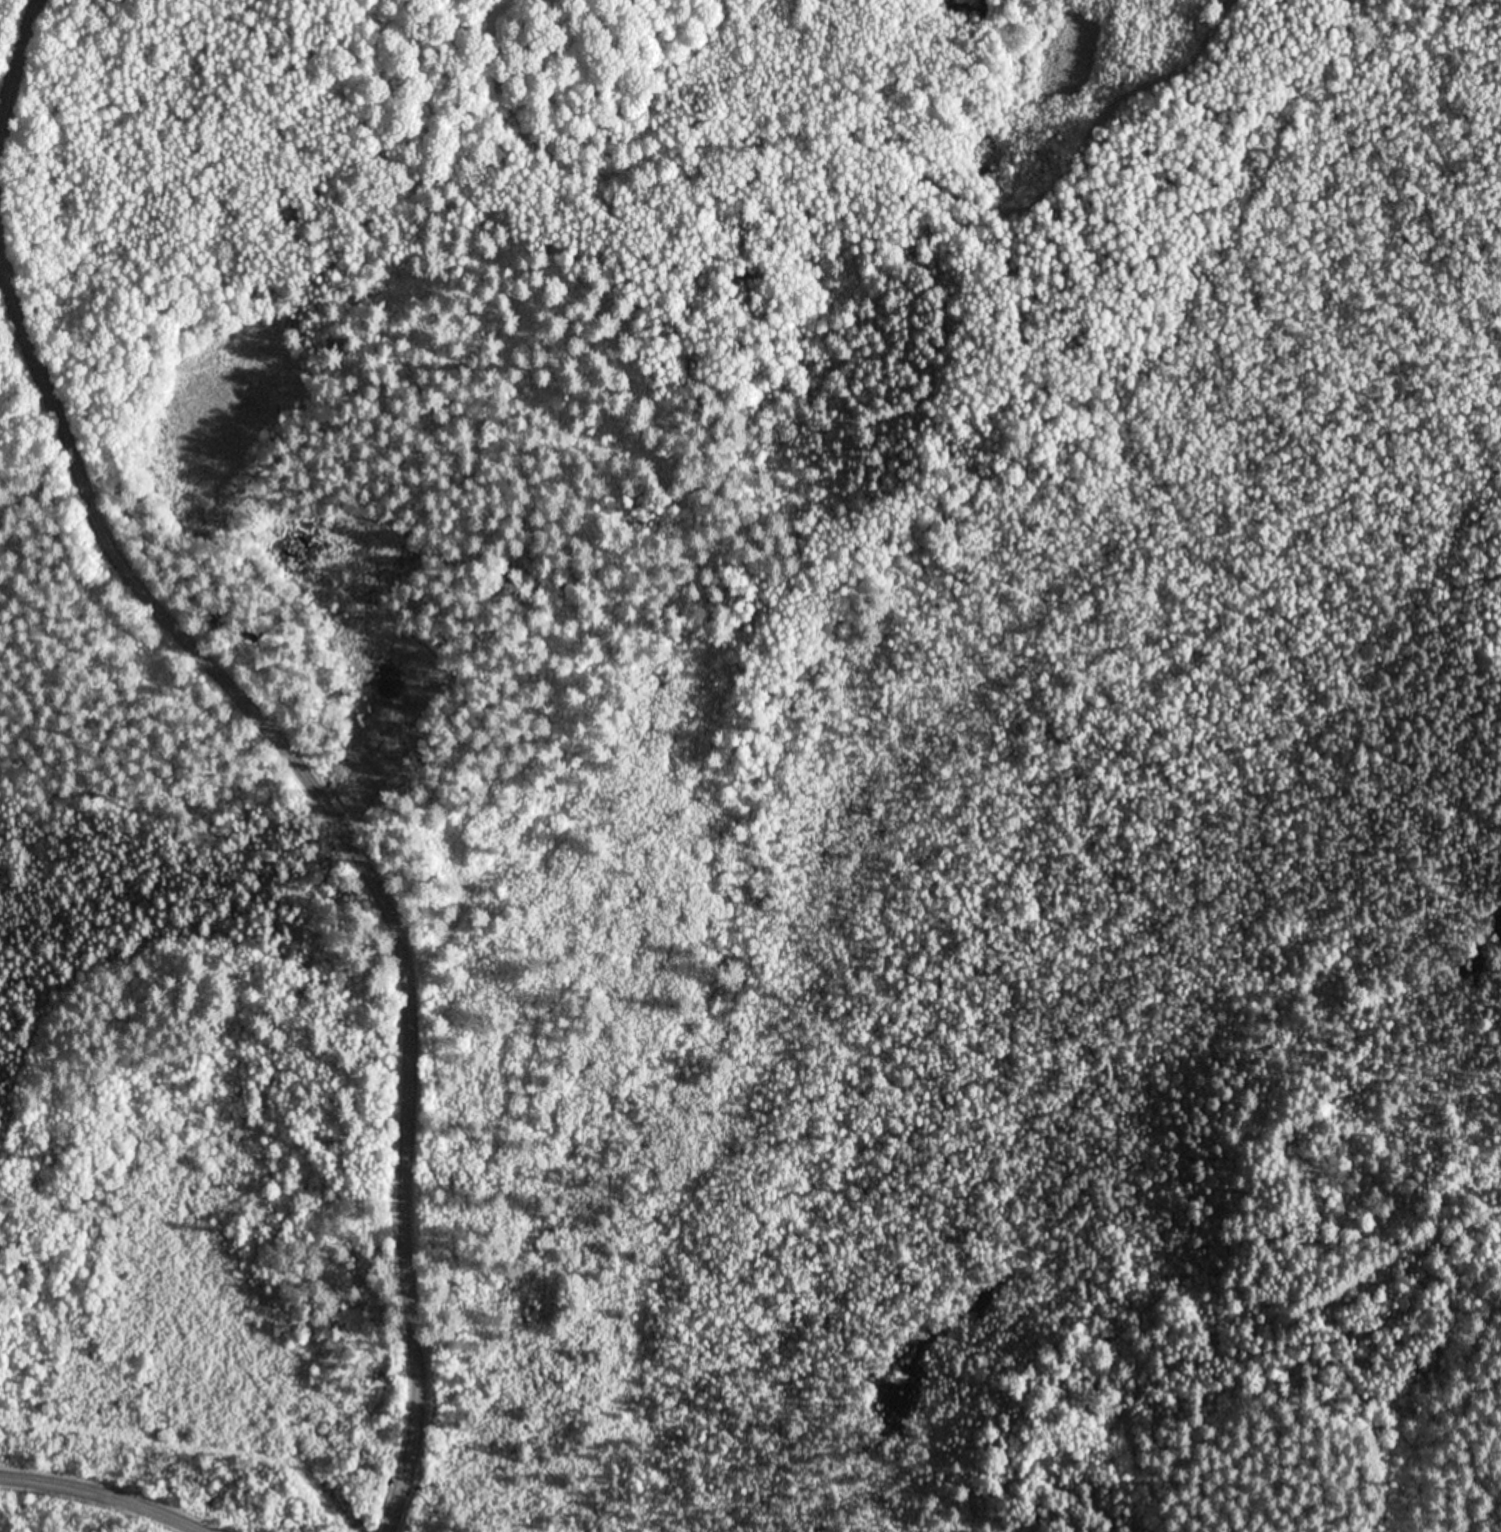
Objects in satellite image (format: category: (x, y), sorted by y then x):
road: (287, 739)
road: (109, 1501)

